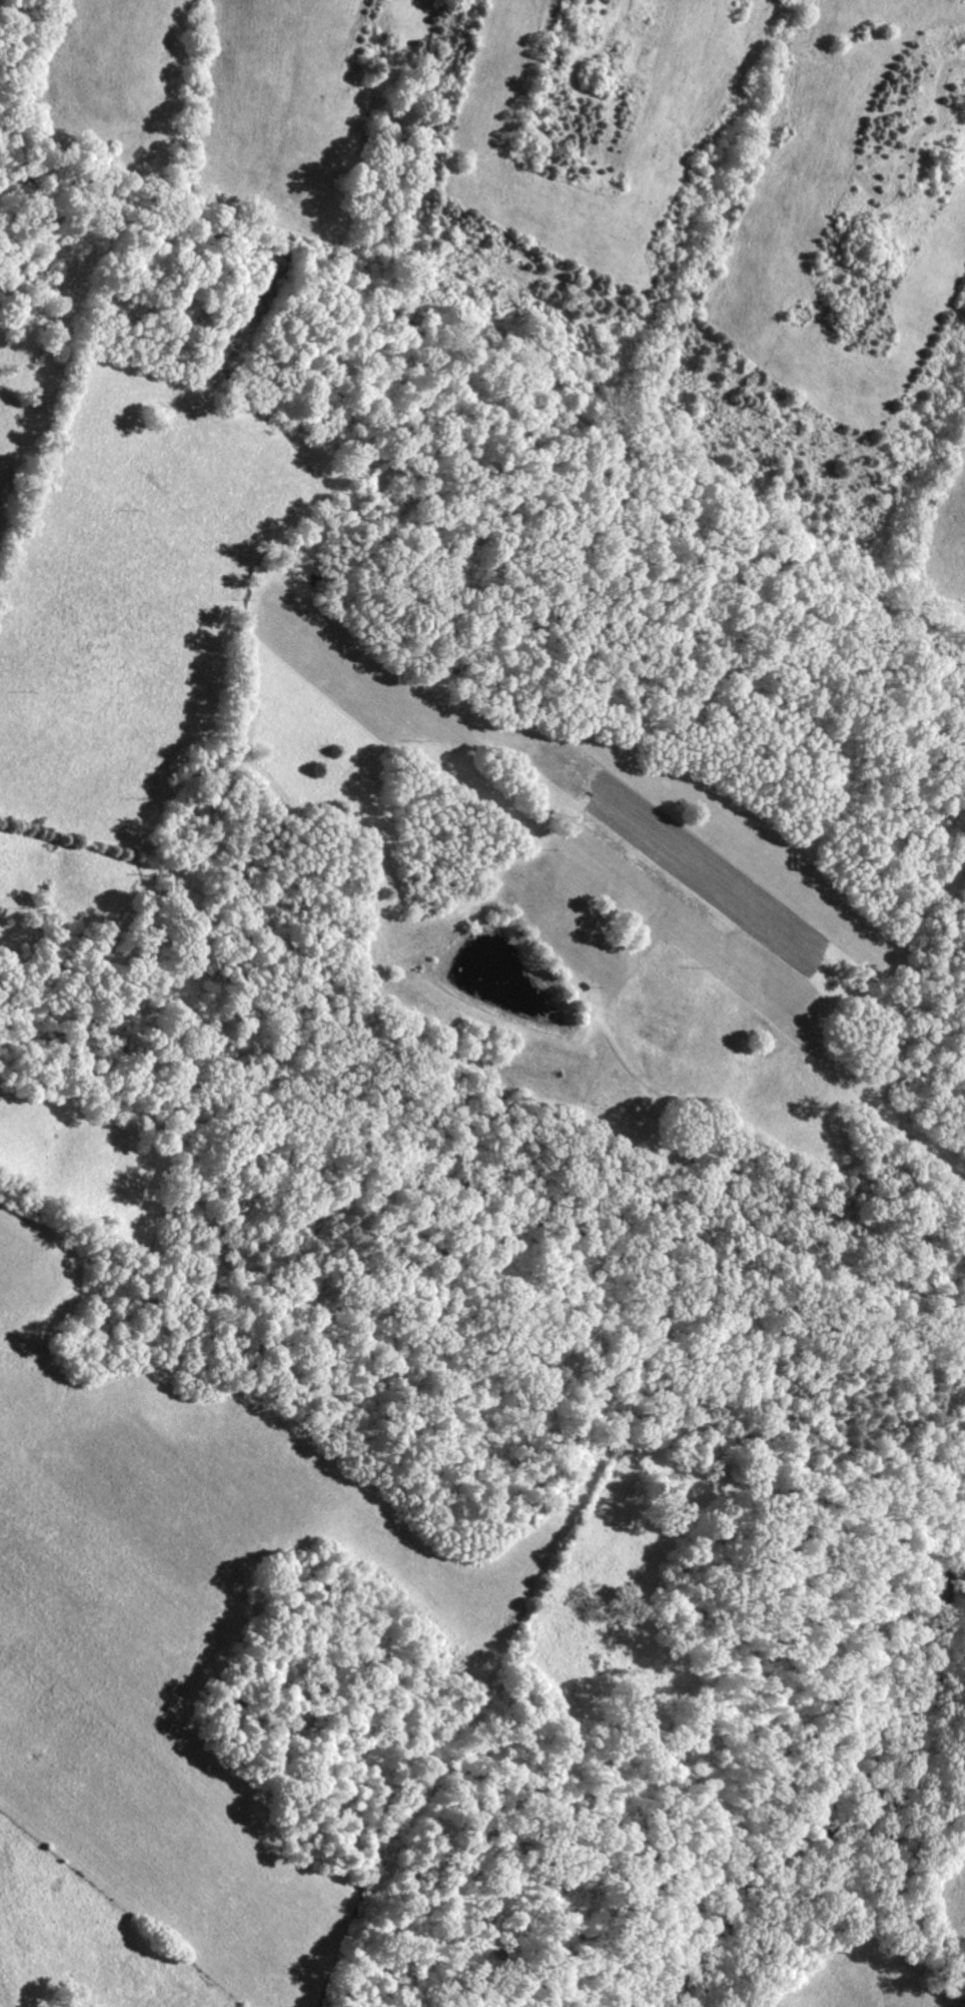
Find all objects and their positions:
road: (624, 1978)

